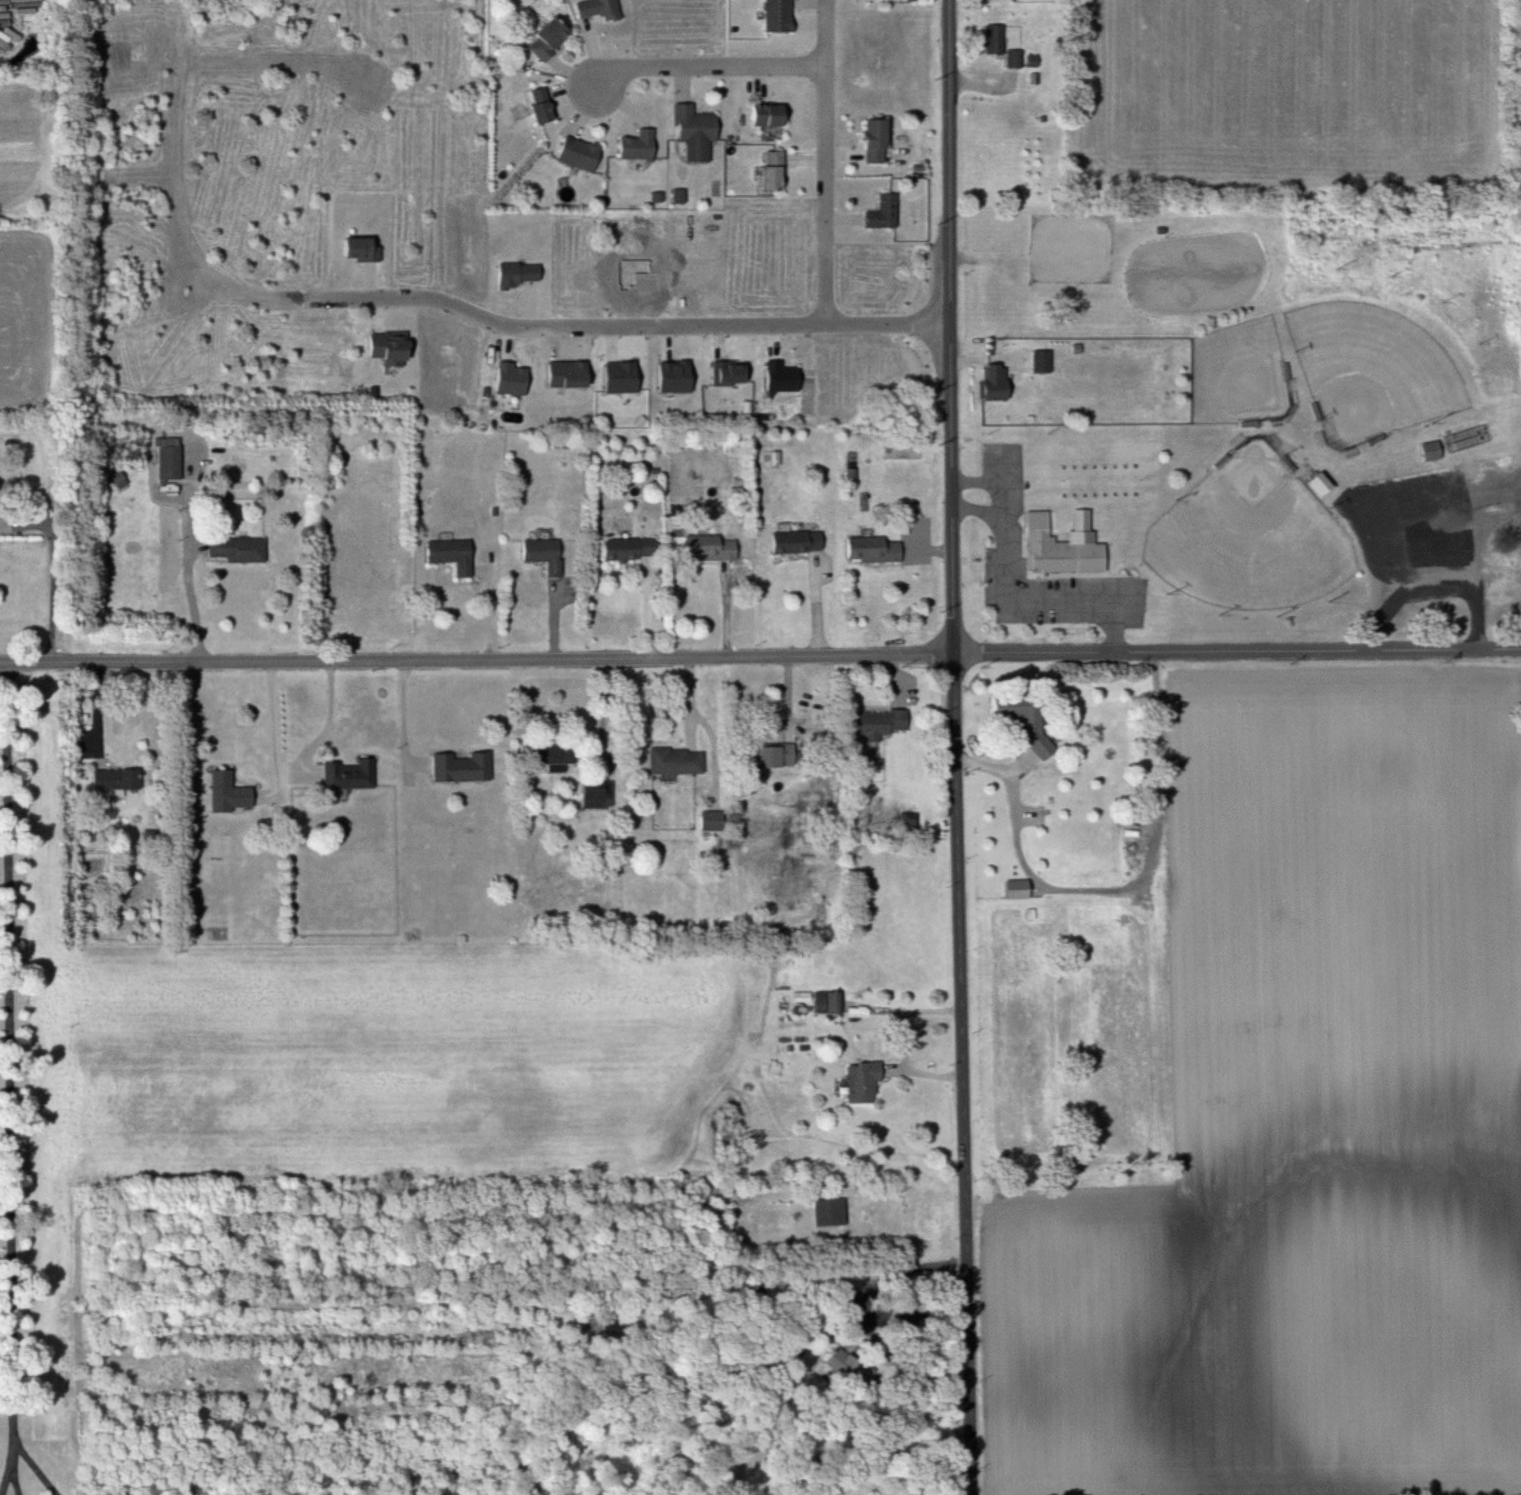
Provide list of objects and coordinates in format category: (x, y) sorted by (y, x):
building: (592, 9)
building: (775, 16)
building: (544, 37)
road: (825, 38)
building: (992, 39)
building: (1013, 59)
building: (1030, 60)
road: (719, 76)
building: (537, 107)
building: (764, 115)
building: (693, 132)
building: (870, 140)
building: (636, 146)
building: (576, 154)
building: (769, 172)
road: (826, 204)
building: (881, 214)
building: (524, 276)
road: (951, 327)
road: (628, 335)
building: (396, 348)
building: (1040, 361)
building: (991, 382)
building: (1429, 451)
building: (172, 461)
building: (1318, 483)
road: (1421, 498)
road: (1003, 508)
building: (801, 541)
building: (715, 547)
building: (241, 548)
building: (633, 548)
building: (1062, 548)
building: (878, 549)
building: (549, 554)
building: (455, 555)
road: (53, 570)
road: (194, 601)
road: (1031, 612)
road: (1237, 651)
road: (477, 660)
road: (405, 716)
building: (1020, 716)
road: (330, 720)
building: (884, 723)
road: (274, 728)
building: (775, 756)
building: (680, 762)
building: (465, 767)
building: (352, 774)
building: (121, 779)
building: (232, 793)
building: (600, 794)
building: (716, 821)
building: (1022, 890)
road: (1120, 890)
building: (831, 1002)
road: (912, 1019)
road: (10, 1065)
road: (964, 1075)
building: (867, 1082)
building: (832, 1213)
road: (902, 1293)
road: (34, 1464)
road: (7, 1481)
road: (15, 1481)

